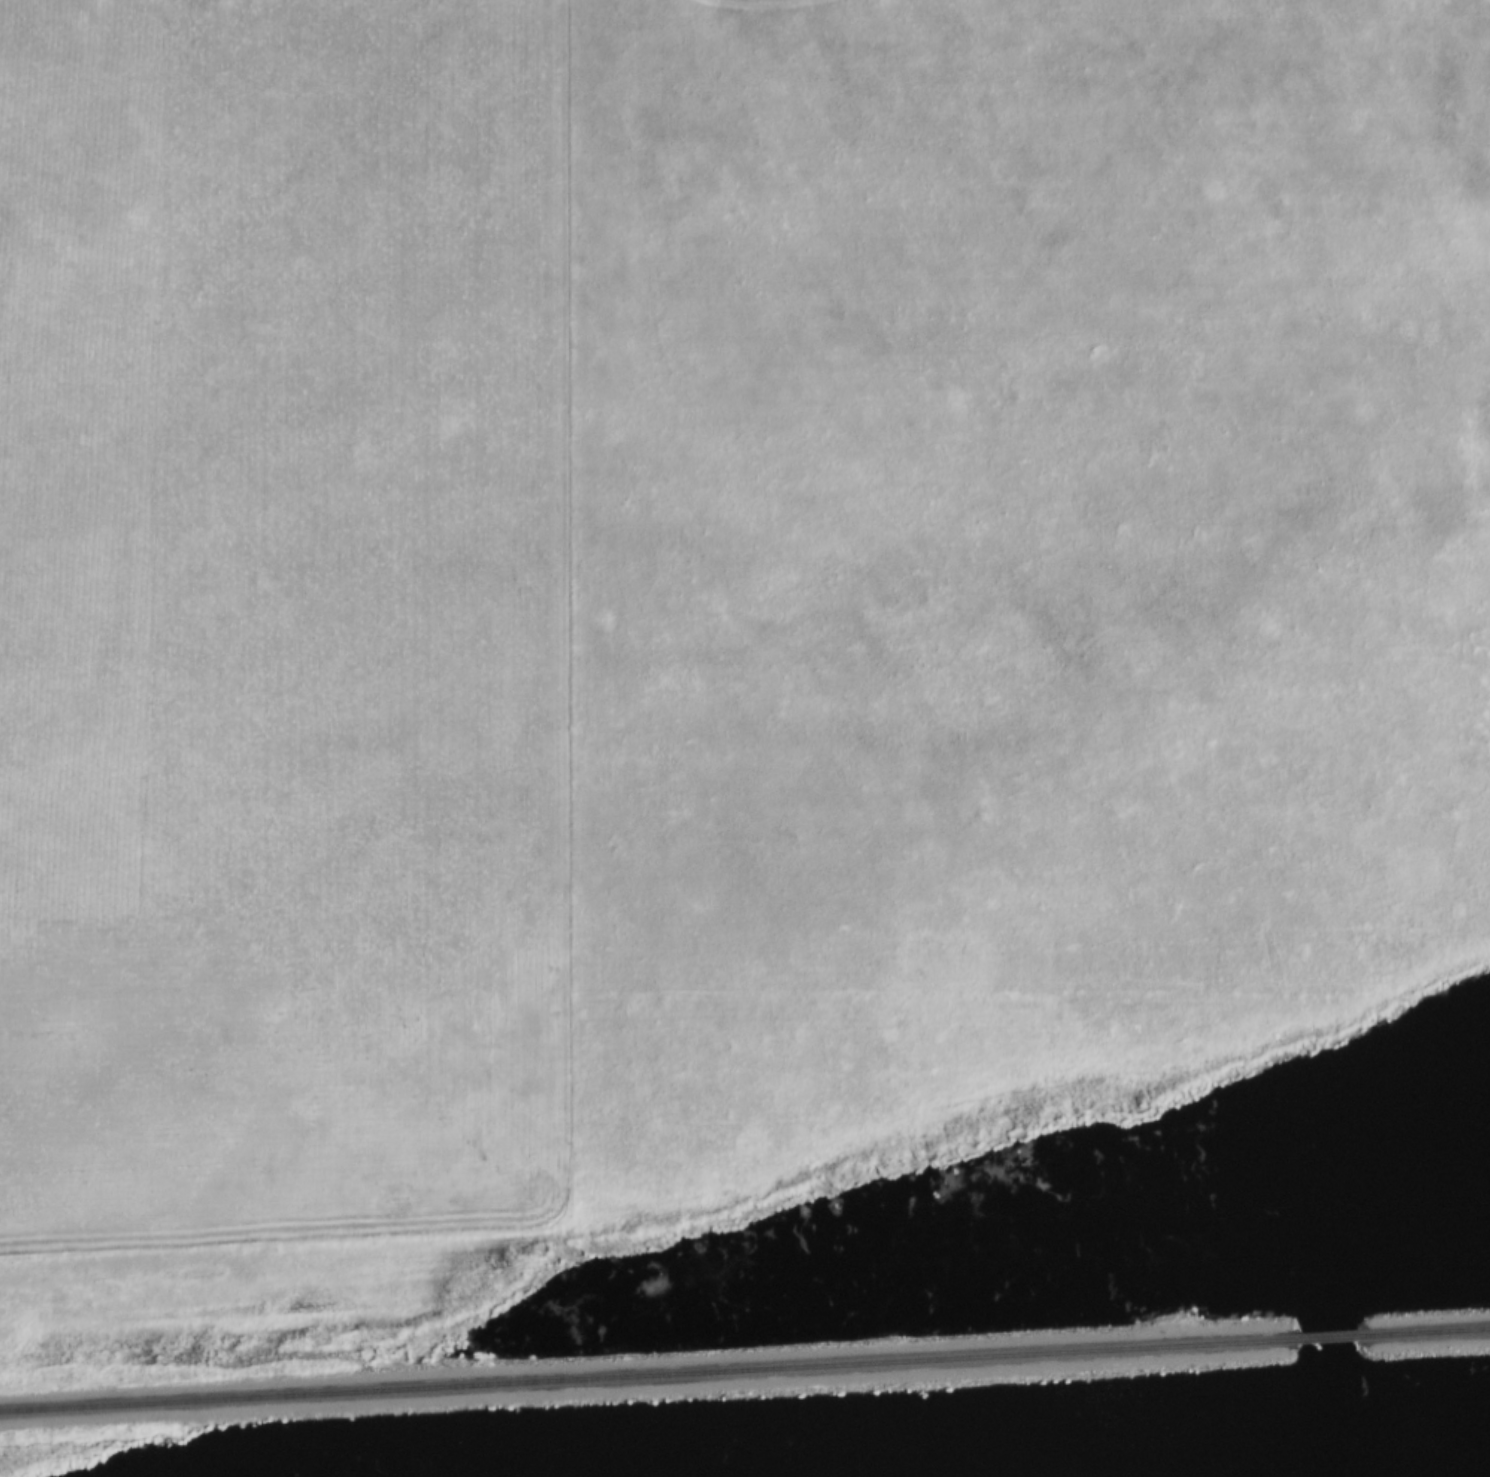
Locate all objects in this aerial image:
railway: (1425, 1334)
railway: (1328, 1340)
railway: (648, 1378)

